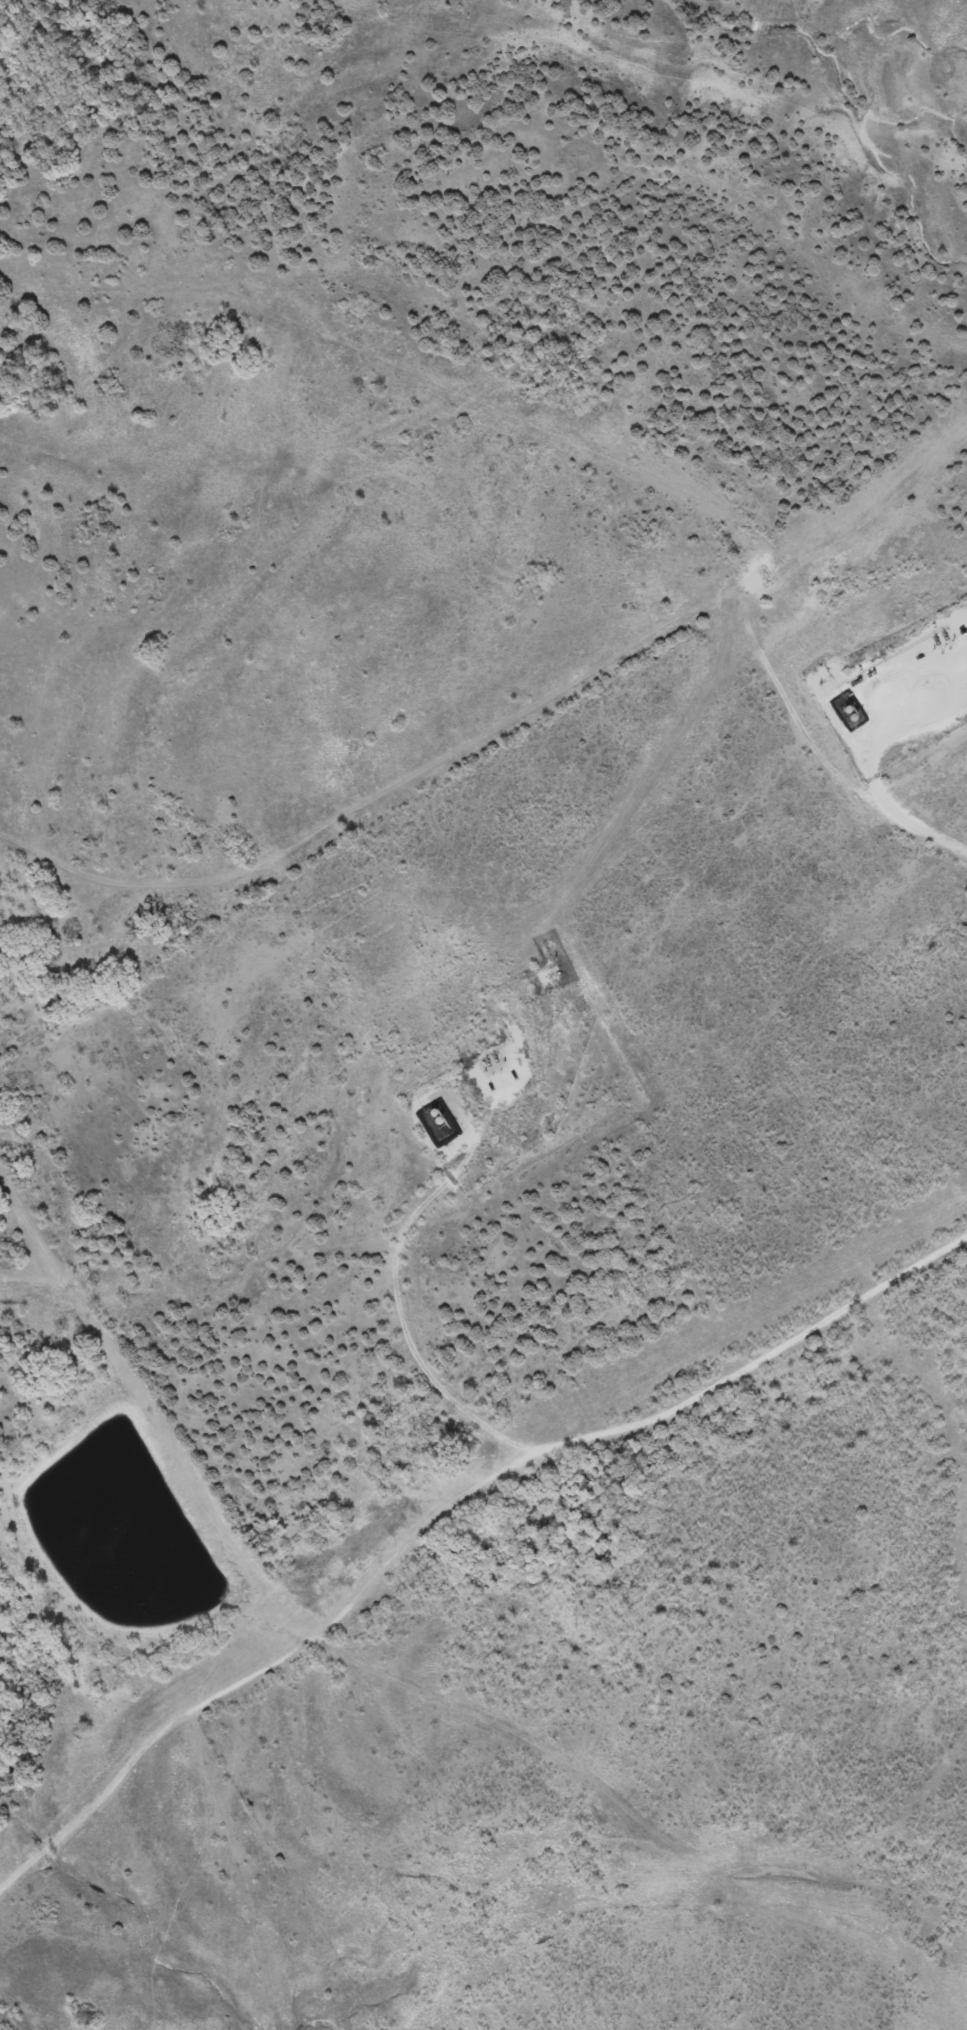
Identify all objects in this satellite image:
road: (917, 831)
road: (407, 1339)
road: (452, 1509)

